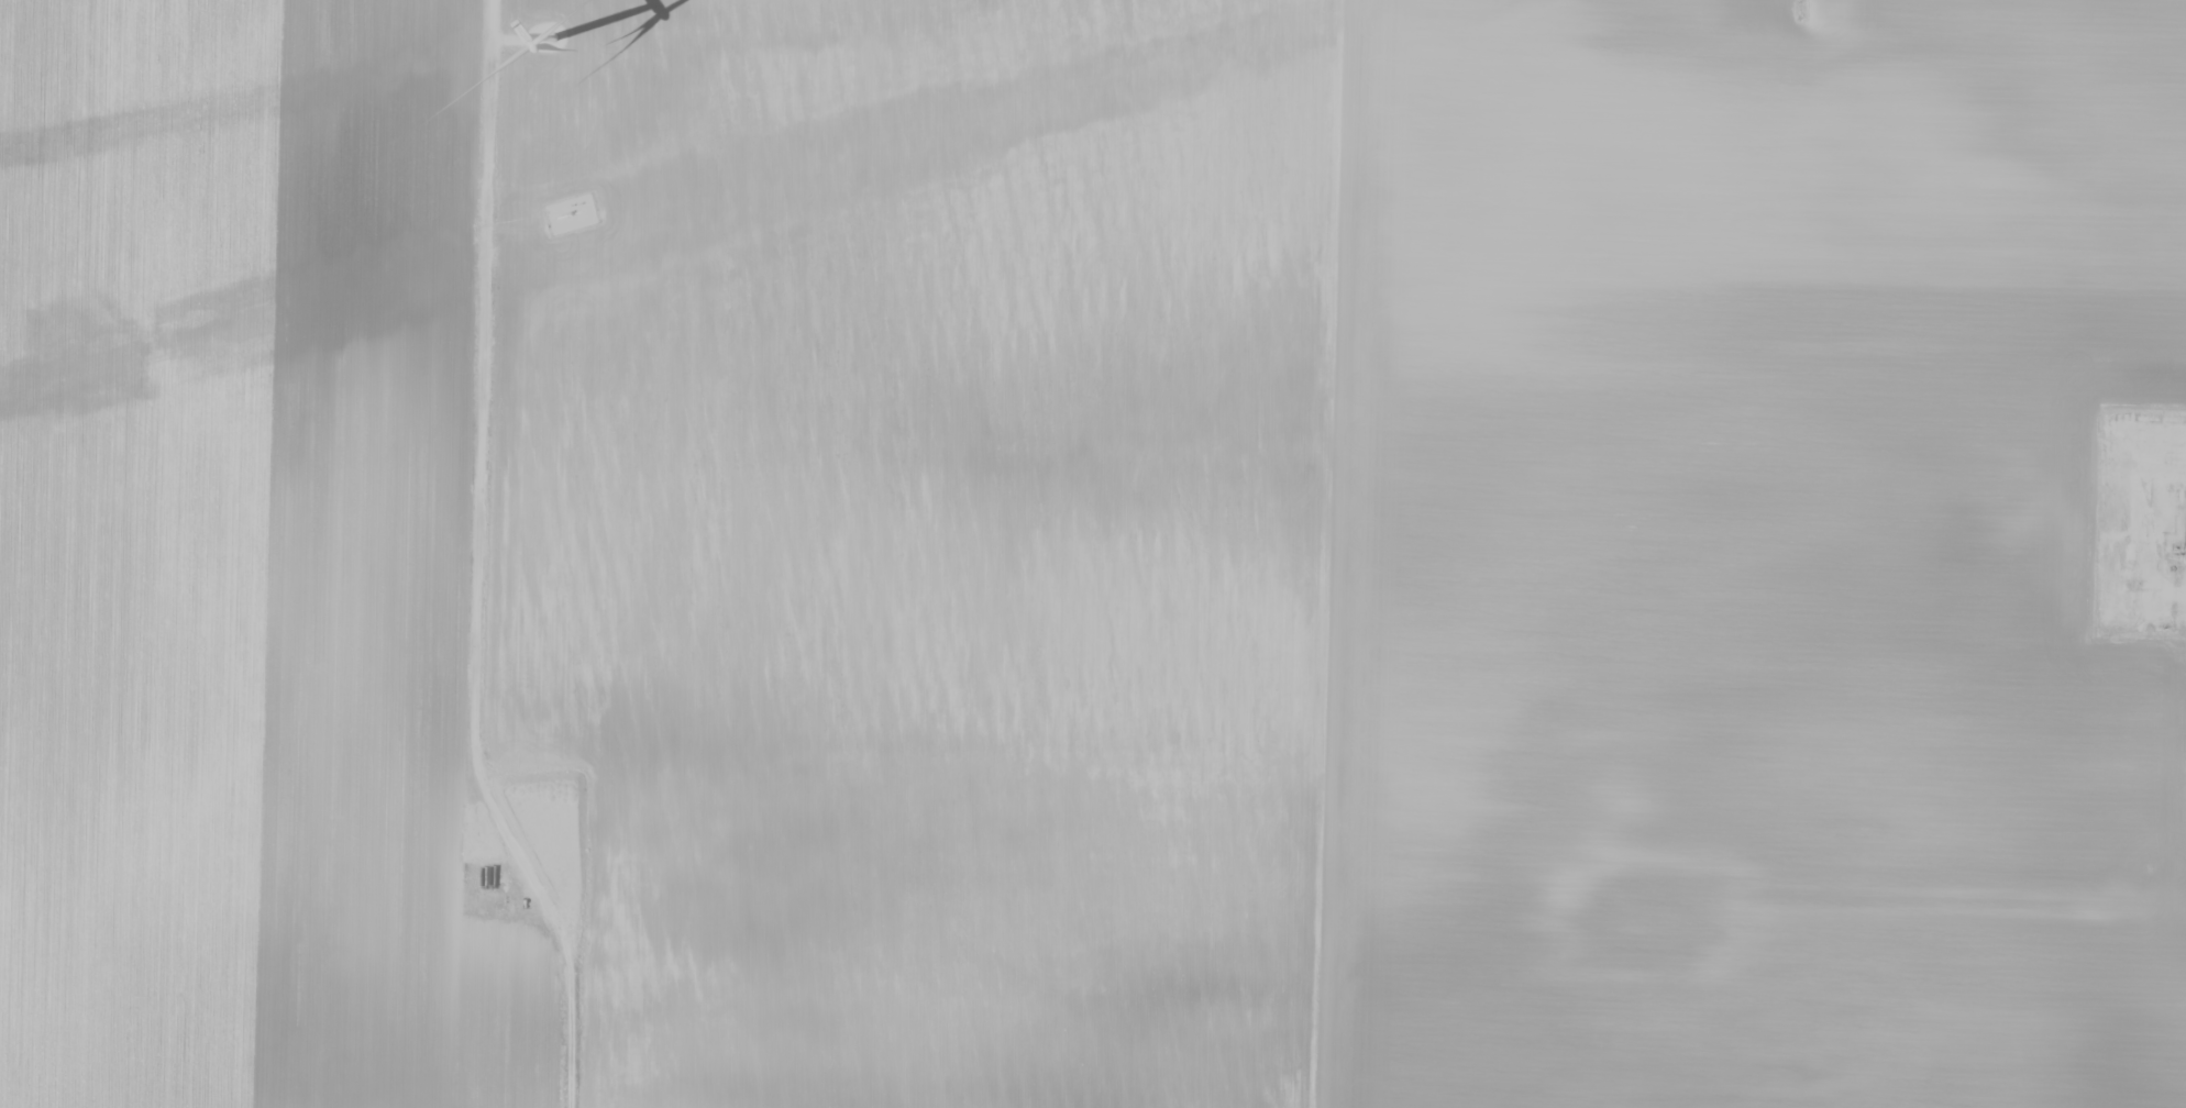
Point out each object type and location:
wind turbine: (545, 33)
road: (2165, 514)
road: (479, 564)

